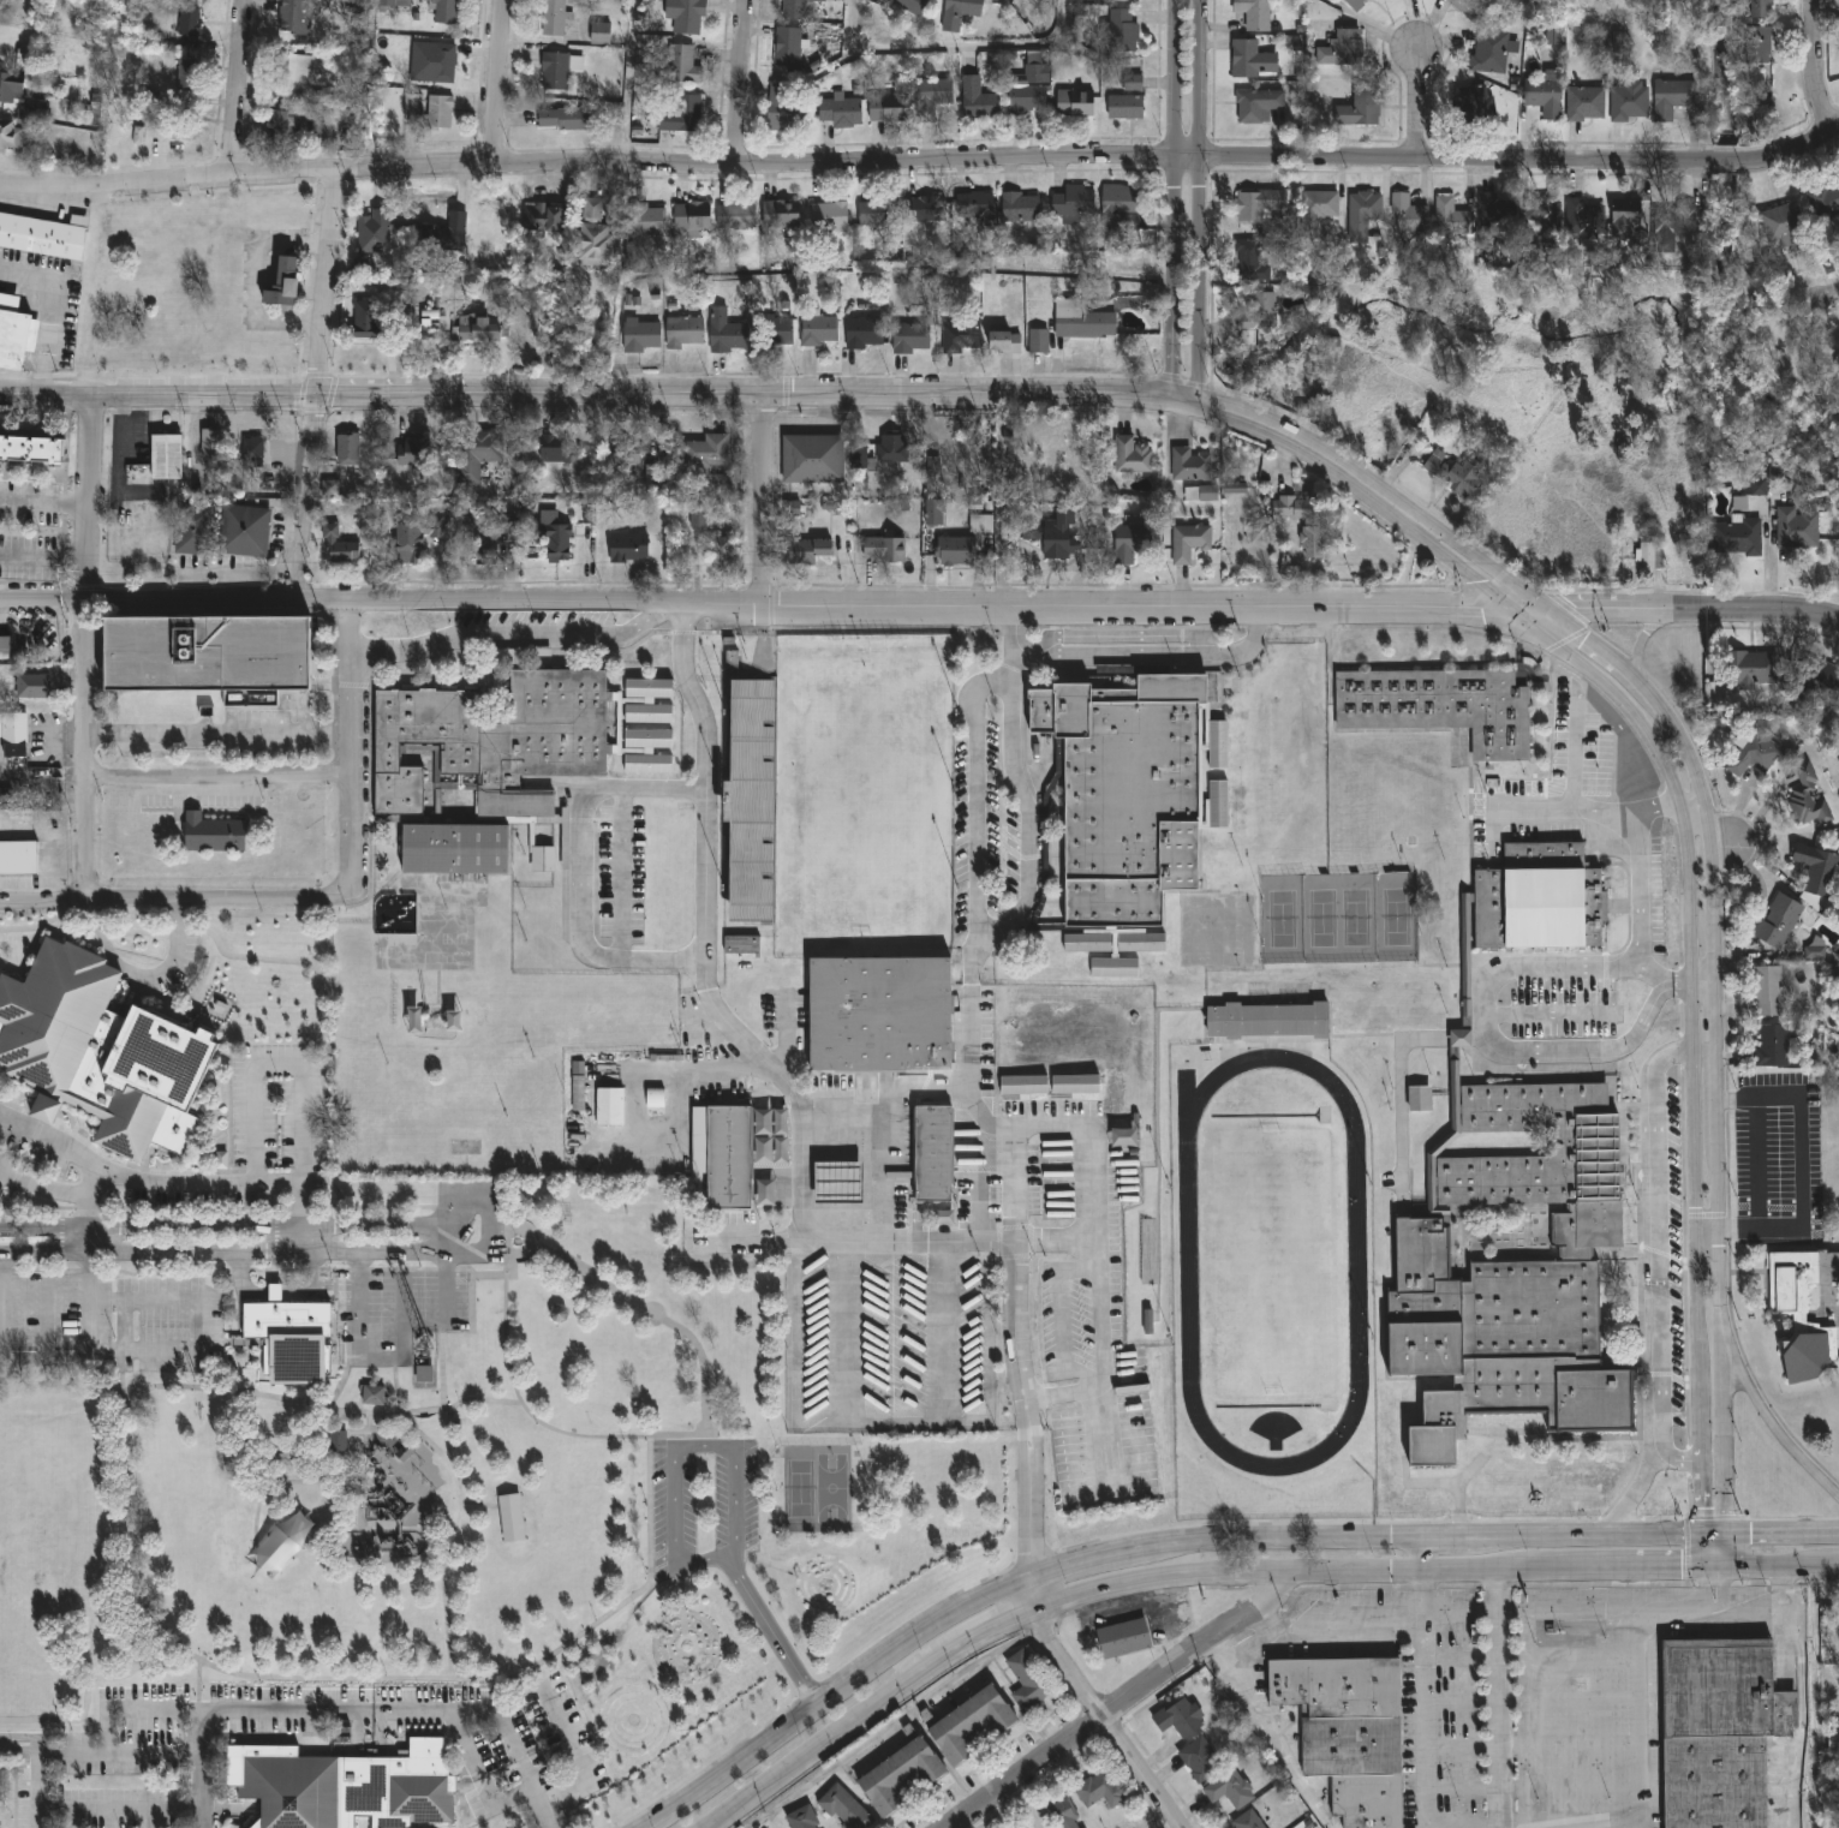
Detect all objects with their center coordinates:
building: (1122, 1)
road: (1825, 2)
building: (1357, 4)
building: (393, 5)
building: (913, 6)
building: (1471, 8)
building: (796, 10)
building: (1763, 10)
building: (444, 11)
building: (961, 12)
building: (1255, 14)
building: (686, 16)
building: (297, 17)
building: (555, 18)
building: (190, 24)
building: (1119, 32)
building: (601, 34)
building: (1552, 36)
road: (957, 46)
building: (1760, 46)
building: (789, 48)
building: (1345, 49)
building: (1492, 52)
building: (1252, 60)
building: (442, 62)
building: (295, 64)
building: (683, 65)
road: (1815, 67)
building: (555, 72)
building: (187, 76)
road: (495, 80)
road: (745, 83)
building: (1133, 83)
road: (235, 85)
building: (1027, 86)
building: (11, 88)
building: (1546, 96)
building: (931, 97)
building: (1673, 97)
building: (979, 100)
building: (1076, 101)
building: (1626, 101)
building: (1586, 102)
road: (1416, 103)
building: (413, 104)
building: (889, 104)
building: (1475, 104)
building: (1259, 106)
building: (1126, 107)
building: (784, 109)
building: (1361, 109)
building: (841, 110)
building: (440, 113)
building: (682, 117)
building: (566, 118)
building: (283, 126)
building: (181, 130)
building: (316, 131)
building: (11, 136)
building: (138, 136)
road: (921, 156)
road: (1172, 199)
building: (975, 202)
building: (1074, 202)
road: (1198, 202)
building: (1261, 204)
building: (1021, 207)
building: (1121, 207)
building: (926, 209)
building: (1827, 209)
building: (877, 211)
building: (1318, 211)
building: (782, 213)
building: (736, 214)
building: (1410, 214)
building: (1626, 214)
building: (1366, 215)
building: (1498, 215)
building: (1546, 215)
building: (543, 216)
building: (693, 217)
building: (829, 217)
building: (1452, 217)
building: (1586, 217)
building: (646, 219)
building: (1673, 223)
building: (1789, 225)
building: (375, 231)
building: (442, 235)
building: (595, 235)
building: (44, 238)
building: (1252, 252)
building: (363, 269)
road: (327, 280)
road: (253, 281)
building: (283, 283)
building: (1262, 309)
road: (50, 315)
building: (365, 318)
building: (1082, 319)
building: (817, 328)
building: (480, 329)
building: (683, 330)
building: (727, 331)
building: (774, 331)
building: (865, 331)
building: (16, 333)
building: (962, 334)
building: (641, 335)
building: (912, 337)
building: (1039, 340)
building: (1007, 341)
building: (1333, 345)
road: (707, 393)
building: (210, 442)
building: (253, 447)
building: (894, 447)
building: (31, 448)
building: (348, 449)
building: (559, 449)
building: (706, 450)
building: (628, 452)
building: (414, 453)
building: (477, 454)
building: (1133, 455)
building: (163, 458)
building: (813, 459)
building: (861, 459)
building: (1190, 464)
building: (932, 466)
building: (1458, 472)
building: (652, 473)
building: (1754, 486)
building: (329, 488)
building: (1235, 489)
building: (1192, 494)
building: (1208, 494)
road: (309, 497)
road: (765, 498)
road: (44, 502)
building: (1739, 503)
building: (793, 508)
building: (935, 512)
building: (698, 519)
building: (1306, 520)
building: (981, 522)
building: (1798, 527)
building: (193, 528)
building: (243, 530)
building: (513, 532)
building: (1059, 534)
building: (416, 538)
building: (1737, 538)
building: (556, 539)
building: (1132, 542)
building: (1190, 542)
building: (340, 546)
building: (886, 546)
building: (628, 548)
building: (806, 550)
building: (956, 550)
road: (1470, 550)
building: (486, 551)
building: (722, 551)
building: (1649, 556)
road: (1447, 557)
road: (43, 558)
traffic signals: (1480, 583)
road: (753, 604)
traffic signals: (1482, 605)
road: (1528, 607)
traffic signals: (1572, 607)
road: (1694, 608)
road: (509, 633)
road: (1640, 635)
traffic signals: (1583, 637)
building: (5, 649)
road: (84, 651)
building: (207, 653)
road: (1154, 655)
building: (730, 663)
building: (1754, 668)
building: (1816, 679)
building: (31, 686)
building: (647, 691)
road: (694, 695)
building: (1441, 706)
building: (649, 713)
building: (13, 727)
road: (216, 733)
building: (649, 740)
road: (348, 747)
road: (1575, 749)
building: (1760, 755)
building: (486, 760)
road: (1667, 763)
building: (649, 764)
road: (1694, 765)
road: (41, 782)
road: (216, 787)
building: (1135, 791)
building: (1809, 799)
building: (5, 800)
park: (862, 800)
building: (751, 801)
road: (1692, 801)
road: (1588, 811)
building: (213, 832)
road: (622, 835)
building: (18, 856)
building: (543, 859)
road: (705, 873)
building: (1819, 874)
road: (1638, 890)
road: (173, 904)
building: (1780, 920)
road: (996, 934)
building: (1087, 943)
building: (1141, 943)
building: (741, 945)
building: (1814, 950)
road: (663, 961)
building: (1115, 967)
road: (1542, 967)
road: (143, 975)
road: (1654, 976)
road: (1702, 985)
road: (1677, 986)
building: (1769, 990)
building: (880, 1012)
building: (1267, 1021)
building: (1775, 1047)
road: (1587, 1050)
building: (1810, 1052)
building: (98, 1053)
road: (674, 1065)
road: (271, 1068)
building: (1075, 1083)
building: (1023, 1085)
building: (577, 1094)
building: (655, 1098)
building: (1420, 1099)
building: (610, 1106)
road: (1695, 1112)
road: (1715, 1112)
parking lot: (276, 1130)
building: (932, 1152)
road: (78, 1153)
building: (1586, 1153)
building: (729, 1155)
road: (1801, 1166)
building: (837, 1181)
road: (802, 1182)
road: (219, 1185)
road: (46, 1189)
building: (765, 1193)
building: (524, 1201)
building: (944, 1217)
road: (219, 1226)
road: (1655, 1232)
road: (448, 1237)
road: (1051, 1238)
road: (1708, 1239)
building: (1147, 1247)
road: (219, 1250)
road: (1089, 1267)
road: (447, 1306)
parking lot: (392, 1312)
building: (1802, 1312)
parking lot: (108, 1322)
building: (1147, 1322)
building: (291, 1337)
road: (173, 1352)
road: (369, 1356)
building: (424, 1374)
road: (1701, 1386)
road: (1721, 1386)
road: (1058, 1391)
building: (374, 1396)
road: (327, 1406)
road: (1026, 1410)
road: (1766, 1414)
road: (891, 1427)
building: (338, 1441)
road: (649, 1441)
road: (1679, 1458)
park: (462, 1486)
park: (817, 1489)
road: (1632, 1495)
parking lot: (704, 1505)
traffic signals: (1704, 1507)
building: (510, 1516)
road: (1781, 1533)
road: (1714, 1534)
traffic signals: (1750, 1534)
road: (674, 1537)
road: (444, 1541)
building: (281, 1542)
road: (1134, 1549)
road: (1704, 1552)
road: (1725, 1552)
road: (1420, 1554)
road: (1838, 1567)
road: (1780, 1569)
road: (1632, 1570)
road: (1714, 1570)
road: (1295, 1571)
traffic signals: (1680, 1571)
traffic signals: (1725, 1587)
road: (1725, 1593)
road: (1033, 1594)
road: (1704, 1594)
road: (1578, 1612)
road: (1754, 1614)
road: (1270, 1624)
road: (987, 1631)
road: (1320, 1633)
building: (1123, 1637)
road: (1566, 1655)
building: (1027, 1681)
road: (811, 1691)
parking lot: (1524, 1693)
road: (1801, 1697)
road: (1497, 1699)
road: (1566, 1701)
road: (1127, 1703)
road: (354, 1708)
building: (1176, 1718)
road: (1105, 1720)
building: (968, 1724)
road: (890, 1725)
building: (1719, 1730)
building: (1349, 1731)
road: (1425, 1734)
road: (1270, 1737)
building: (1833, 1739)
road: (825, 1742)
road: (20, 1743)
road: (1568, 1746)
road: (80, 1749)
road: (1637, 1755)
building: (1199, 1760)
building: (897, 1774)
building: (342, 1785)
road: (1568, 1786)
building: (1097, 1788)
building: (1228, 1788)
building: (842, 1808)
road: (120, 1809)
building: (1064, 1812)
building: (801, 1818)
building: (1246, 1821)
building: (1020, 1827)
building: (1085, 1827)

